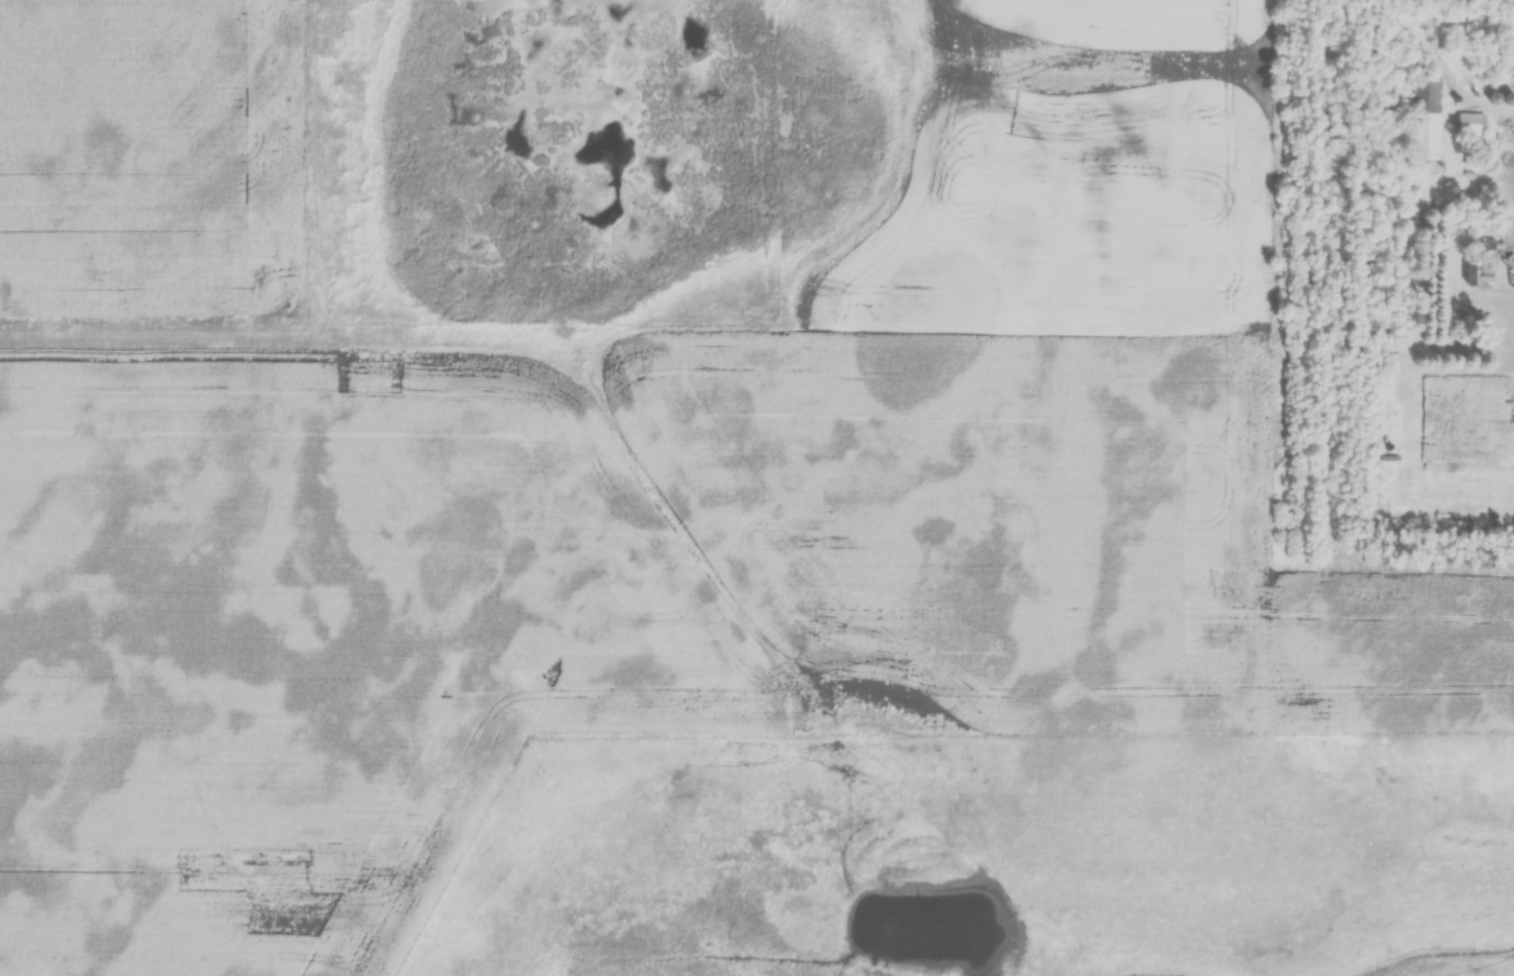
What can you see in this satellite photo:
building: (1423, 114)
building: (1468, 125)
building: (1484, 164)
building: (1479, 266)

